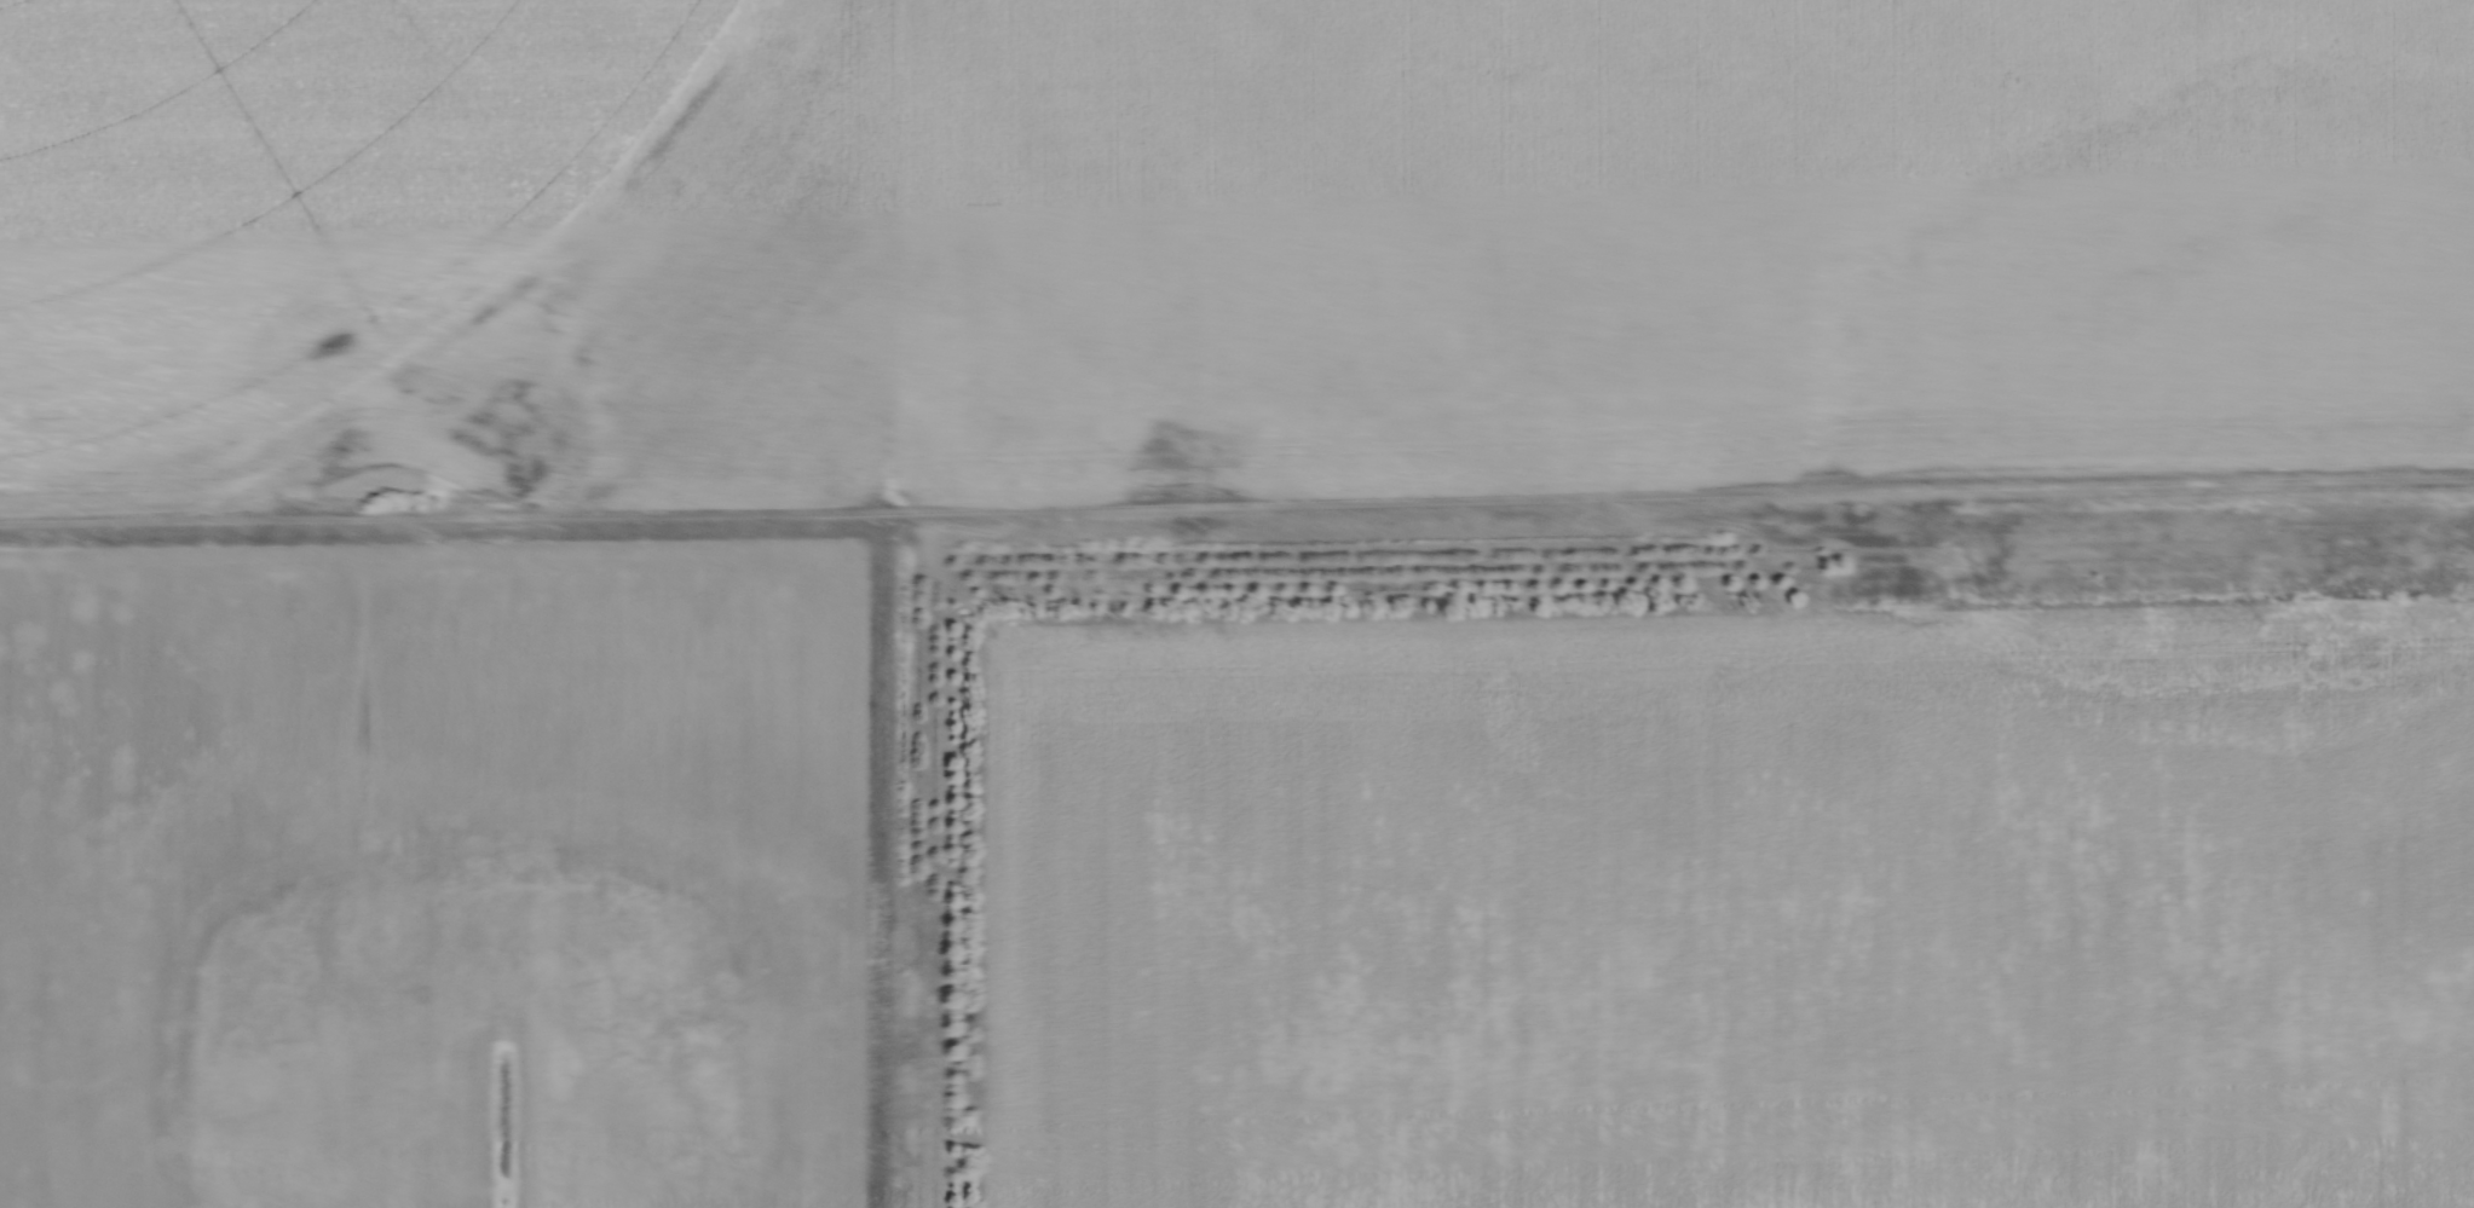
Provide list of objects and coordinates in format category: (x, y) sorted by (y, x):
crop: (432, 878)
crop: (1732, 911)

